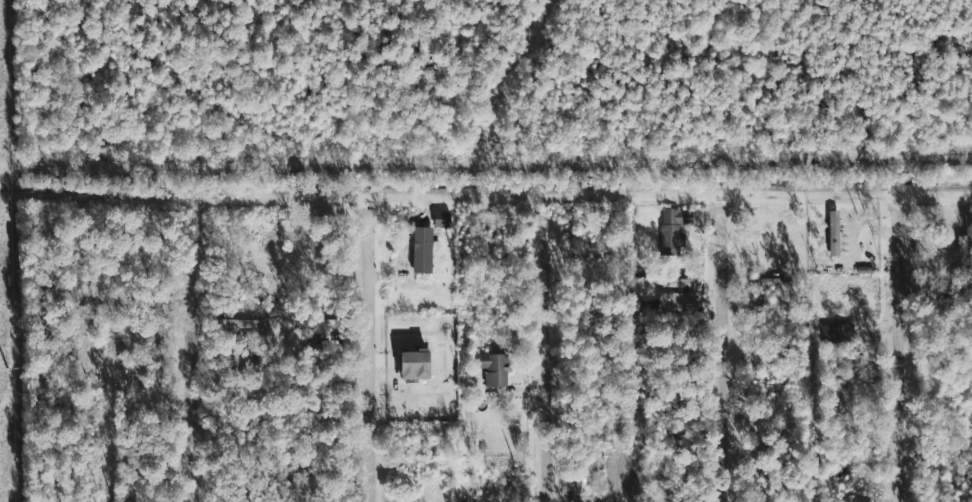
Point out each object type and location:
road: (510, 81)
road: (485, 163)
building: (442, 218)
building: (673, 229)
building: (833, 233)
building: (422, 249)
building: (675, 283)
building: (419, 284)
building: (678, 301)
building: (243, 323)
building: (322, 323)
building: (837, 333)
road: (721, 354)
road: (900, 354)
road: (370, 355)
building: (414, 364)
power tower: (6, 369)
building: (494, 369)
road: (547, 370)
road: (193, 388)

